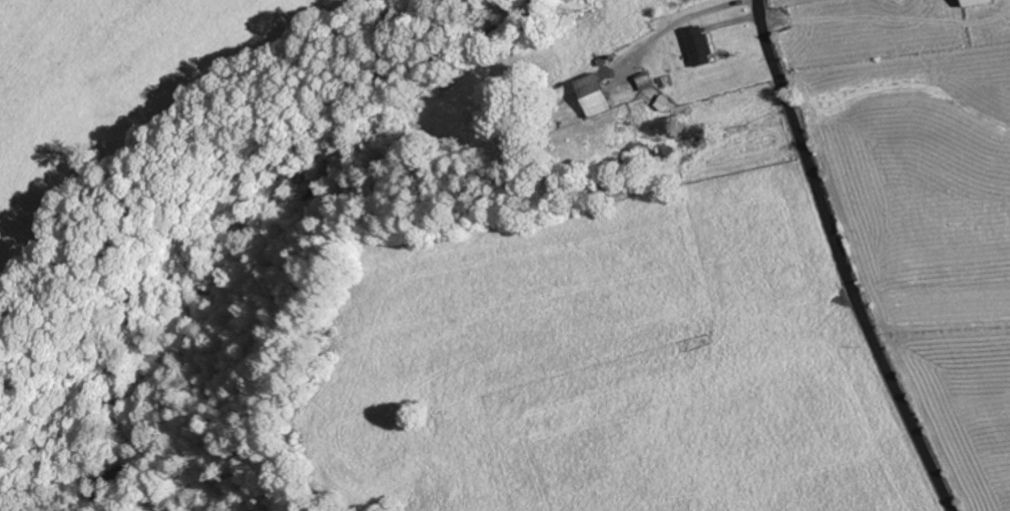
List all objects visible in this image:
building: (980, 3)
building: (701, 47)
building: (598, 96)
road: (840, 260)

